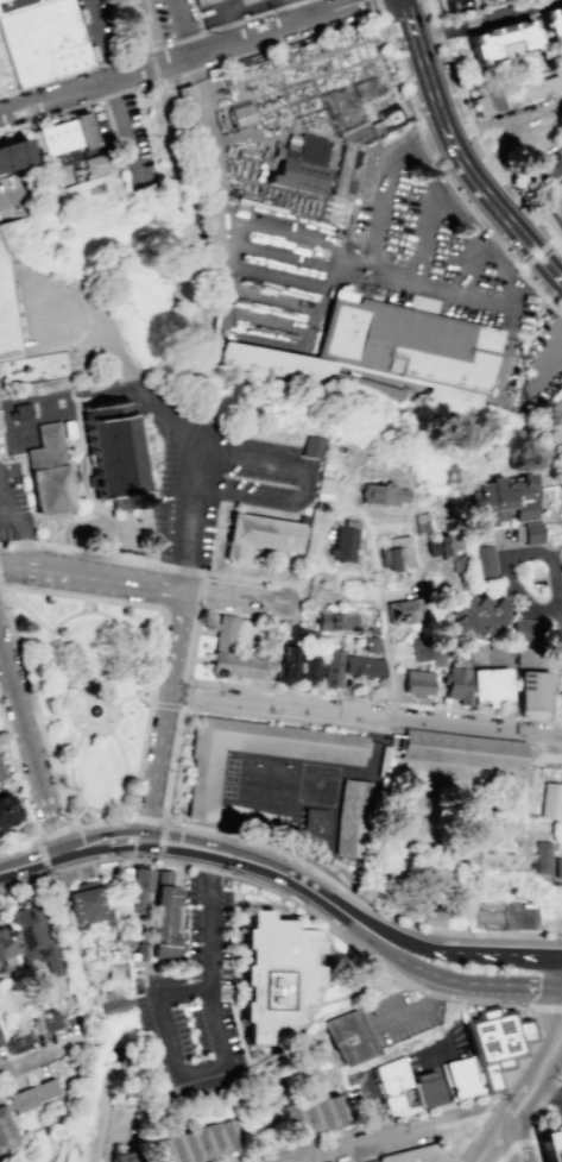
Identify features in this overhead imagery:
building: (206, 2)
road: (377, 7)
parking lot: (244, 13)
road: (490, 23)
building: (555, 24)
parking lot: (101, 27)
road: (279, 27)
building: (39, 39)
road: (97, 40)
building: (505, 43)
road: (152, 48)
railway: (151, 54)
road: (95, 84)
building: (516, 96)
road: (206, 108)
road: (538, 108)
road: (480, 125)
road: (126, 131)
road: (476, 134)
building: (68, 138)
road: (432, 139)
building: (360, 145)
road: (497, 150)
building: (18, 151)
building: (5, 157)
road: (456, 157)
road: (429, 165)
building: (302, 167)
building: (549, 167)
building: (206, 171)
building: (96, 172)
road: (442, 177)
railway: (185, 184)
building: (556, 211)
road: (456, 213)
road: (425, 237)
parking lot: (427, 246)
road: (537, 256)
road: (494, 260)
road: (353, 263)
road: (468, 268)
road: (380, 277)
road: (25, 306)
park: (10, 315)
road: (310, 334)
building: (415, 344)
parking lot: (543, 359)
road: (545, 363)
building: (279, 366)
building: (375, 390)
road: (150, 401)
parking lot: (556, 412)
building: (1, 425)
building: (310, 446)
building: (122, 465)
building: (51, 473)
building: (324, 490)
parking lot: (223, 491)
building: (380, 494)
building: (503, 500)
road: (283, 503)
parking lot: (13, 504)
building: (532, 533)
road: (23, 535)
building: (260, 538)
building: (343, 545)
building: (447, 545)
road: (506, 554)
building: (400, 558)
building: (484, 564)
building: (460, 565)
road: (93, 578)
road: (1, 588)
road: (236, 597)
building: (403, 611)
building: (481, 615)
road: (560, 615)
road: (238, 617)
building: (336, 622)
road: (119, 626)
road: (147, 628)
building: (526, 630)
building: (293, 632)
road: (207, 633)
road: (217, 633)
building: (304, 633)
fountain: (255, 637)
road: (49, 639)
building: (372, 645)
road: (191, 646)
building: (422, 651)
road: (274, 653)
building: (438, 657)
road: (387, 658)
building: (528, 658)
road: (201, 660)
building: (223, 661)
building: (285, 666)
building: (364, 667)
building: (331, 668)
building: (308, 670)
building: (240, 671)
building: (417, 683)
building: (457, 685)
building: (491, 685)
building: (533, 691)
road: (154, 693)
park: (93, 696)
road: (124, 701)
road: (372, 701)
road: (36, 706)
fountain: (95, 712)
road: (366, 715)
road: (23, 716)
road: (58, 716)
road: (168, 716)
road: (102, 724)
building: (462, 750)
building: (1, 774)
road: (25, 792)
building: (201, 793)
building: (550, 800)
road: (102, 810)
building: (7, 811)
road: (102, 816)
building: (354, 818)
road: (149, 819)
road: (101, 821)
road: (55, 823)
building: (316, 824)
park: (469, 827)
road: (52, 834)
road: (121, 838)
road: (163, 841)
road: (78, 847)
road: (377, 849)
road: (42, 858)
road: (490, 861)
road: (31, 862)
building: (547, 862)
road: (273, 871)
building: (139, 891)
road: (358, 900)
building: (89, 905)
parking lot: (524, 915)
building: (490, 916)
road: (320, 917)
building: (164, 918)
road: (436, 928)
road: (516, 934)
building: (32, 938)
building: (5, 943)
road: (468, 953)
building: (141, 954)
traffic signals: (557, 957)
road: (560, 957)
road: (556, 971)
building: (118, 973)
building: (274, 975)
road: (393, 980)
road: (461, 980)
traffic signals: (555, 985)
road: (558, 985)
parking lot: (182, 990)
road: (340, 998)
building: (118, 1006)
road: (411, 1009)
road: (544, 1009)
road: (160, 1010)
parking lot: (391, 1017)
building: (50, 1022)
building: (347, 1037)
road: (286, 1039)
building: (494, 1039)
building: (14, 1043)
road: (453, 1044)
parking lot: (440, 1049)
road: (539, 1056)
road: (32, 1062)
road: (442, 1072)
road: (560, 1075)
building: (460, 1076)
building: (393, 1084)
building: (429, 1089)
road: (549, 1089)
road: (537, 1092)
road: (550, 1093)
building: (32, 1094)
parking lot: (367, 1095)
parking lot: (557, 1101)
road: (375, 1104)
road: (479, 1111)
railway: (109, 1113)
building: (336, 1114)
building: (322, 1117)
road: (359, 1117)
building: (308, 1120)
road: (475, 1123)
building: (293, 1124)
building: (277, 1128)
road: (359, 1128)
road: (532, 1131)
building: (5, 1133)
building: (248, 1133)
building: (231, 1138)
road: (120, 1141)
building: (217, 1141)
road: (373, 1141)
road: (462, 1141)
road: (493, 1142)
road: (512, 1142)
building: (550, 1142)
building: (203, 1144)
road: (512, 1144)
building: (190, 1147)
road: (409, 1147)
building: (176, 1149)
building: (162, 1150)
building: (416, 1155)
building: (131, 1158)
road: (454, 1158)
road: (459, 1158)

